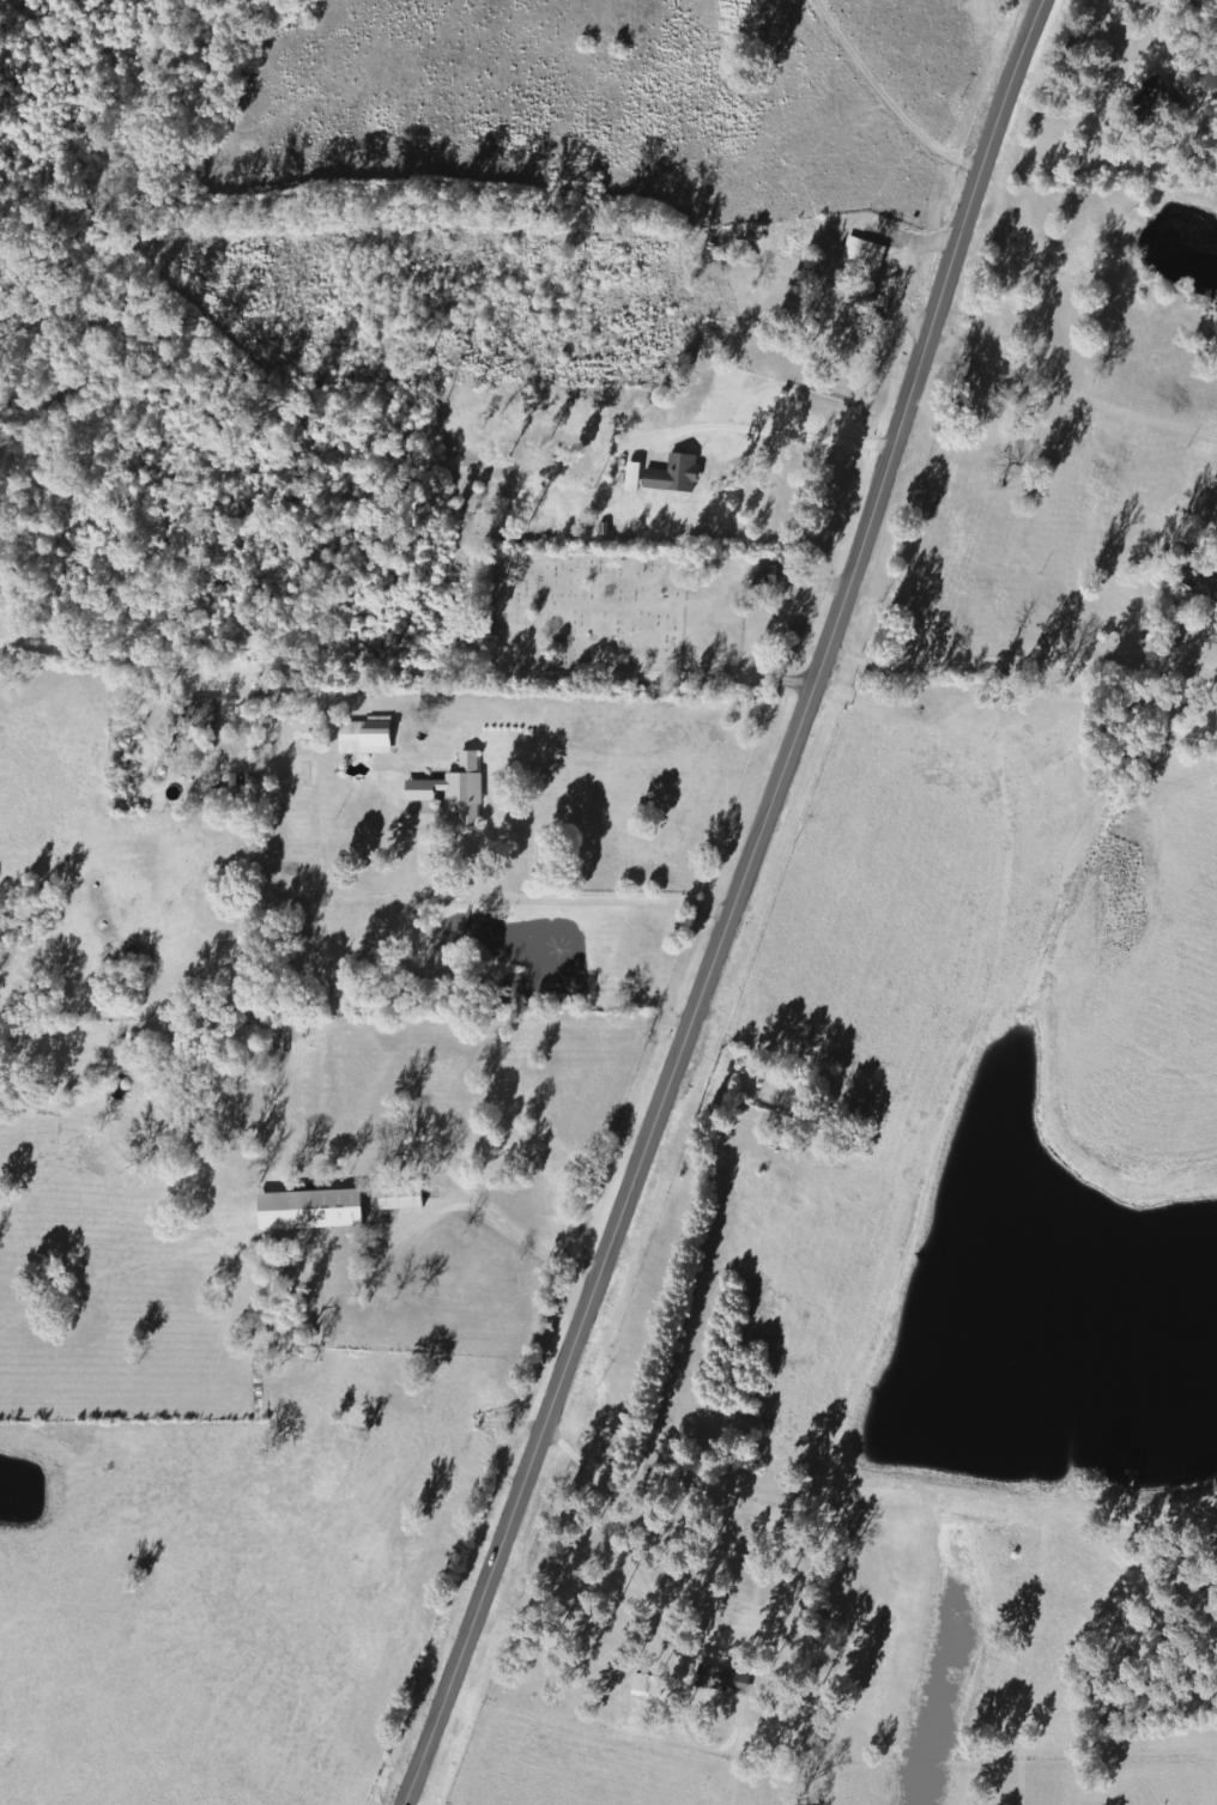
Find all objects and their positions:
building: (1167, 74)
building: (865, 260)
road: (769, 425)
building: (763, 576)
building: (1212, 589)
park: (591, 611)
road: (398, 654)
road: (1018, 664)
building: (190, 715)
building: (364, 737)
building: (453, 788)
road: (729, 905)
building: (290, 1061)
building: (393, 1070)
building: (399, 1198)
building: (317, 1210)
building: (643, 1686)

